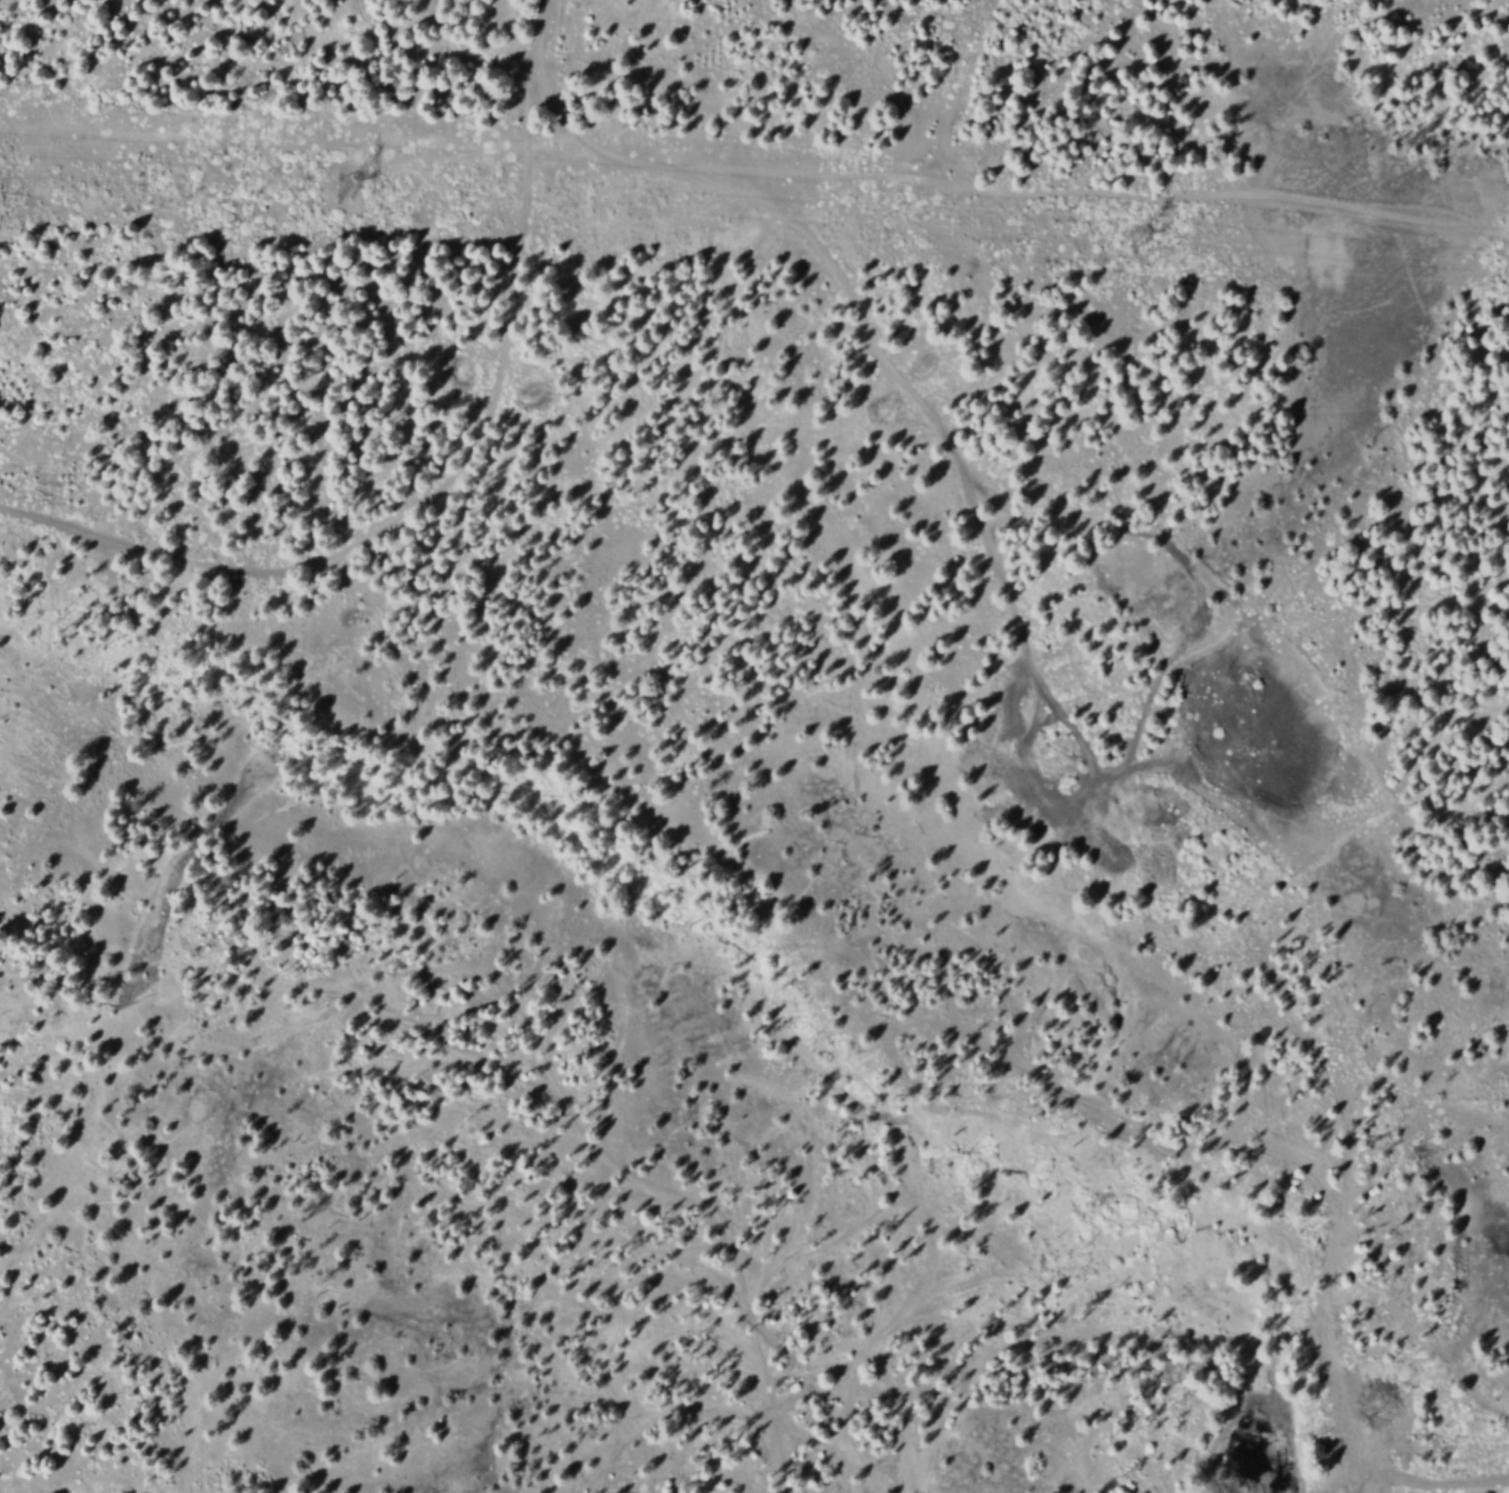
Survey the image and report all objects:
power tower: (345, 182)
power tower: (1141, 235)
road: (452, 471)

